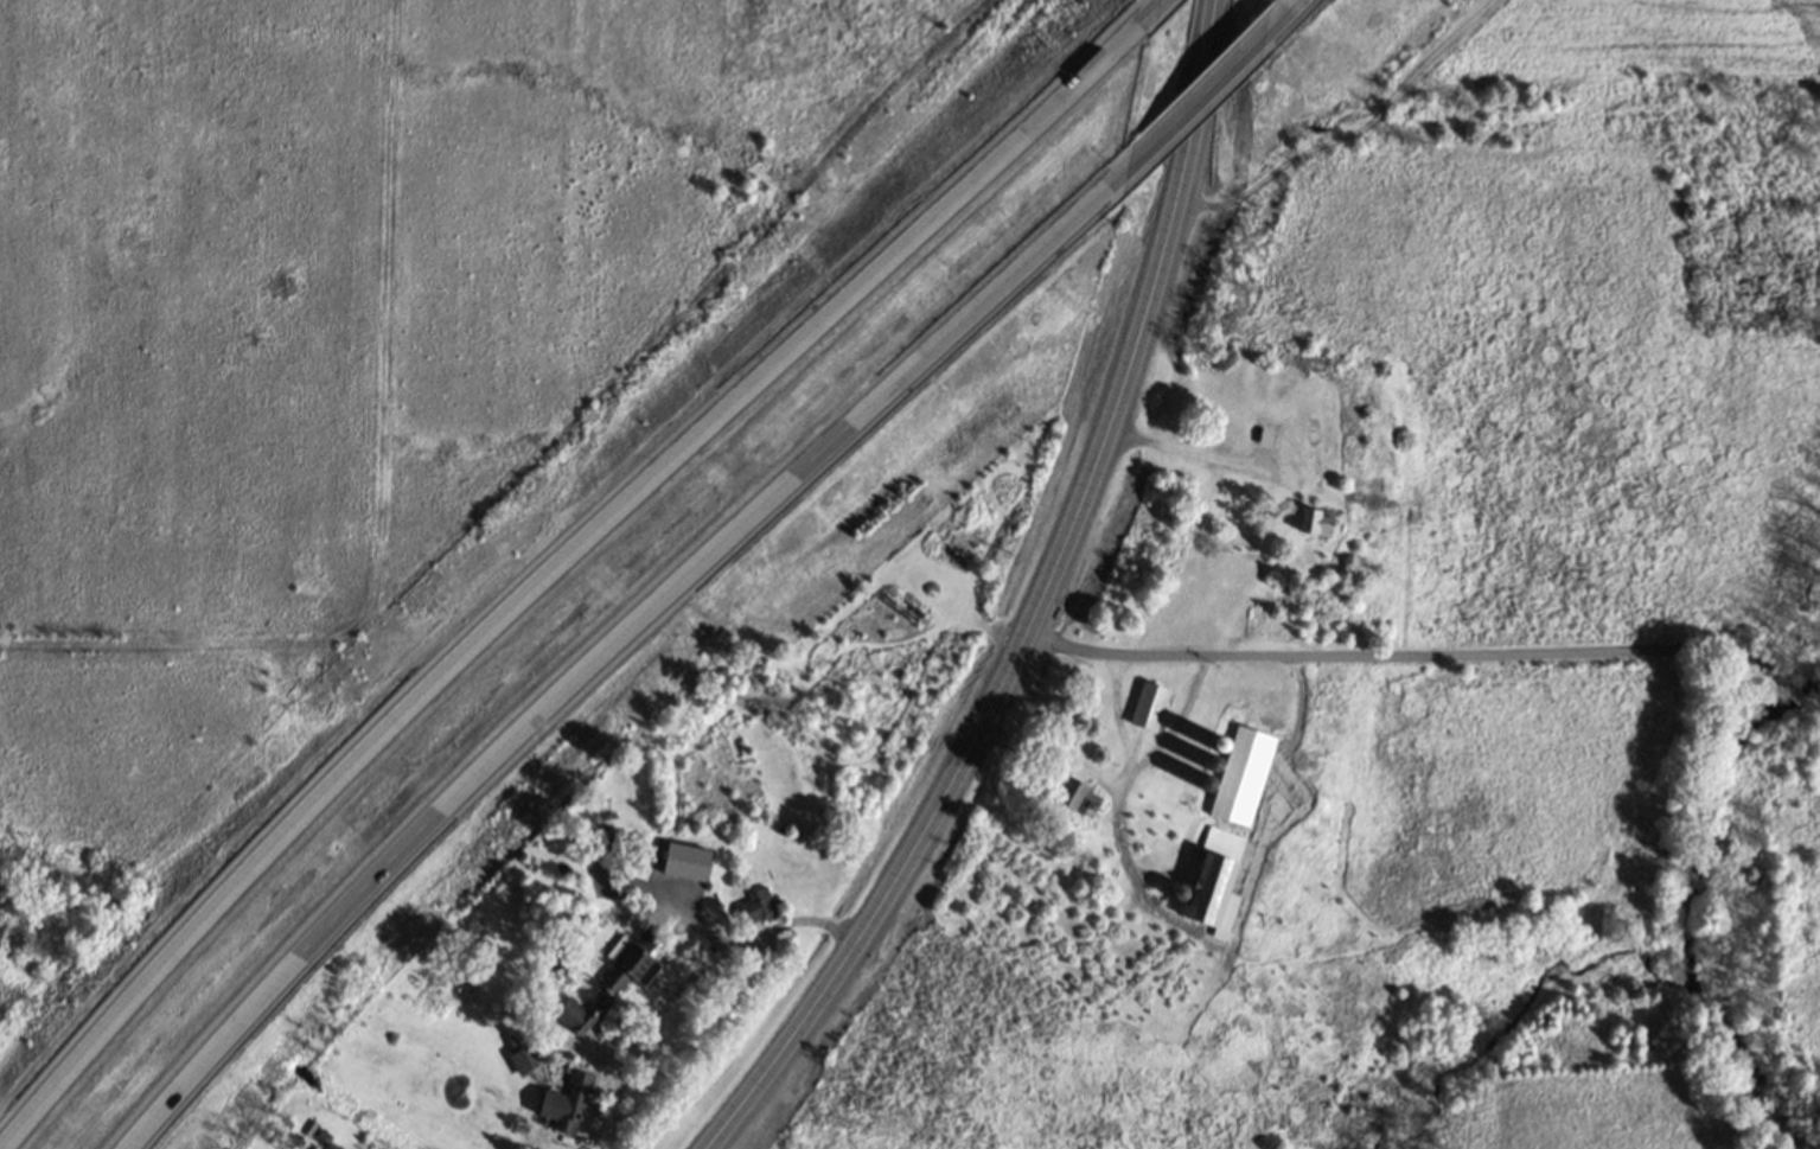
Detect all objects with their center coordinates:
road: (1154, 9)
road: (1202, 78)
road: (1196, 87)
crop: (334, 333)
building: (1263, 434)
road: (1196, 453)
building: (1321, 522)
road: (563, 560)
road: (1413, 650)
road: (626, 658)
road: (1011, 683)
road: (1793, 695)
building: (1150, 704)
road: (1811, 708)
road: (1037, 765)
building: (1243, 775)
building: (1075, 793)
building: (1222, 874)
building: (756, 906)
building: (632, 962)
road: (687, 972)
building: (583, 1010)
building: (522, 1060)
building: (567, 1104)

